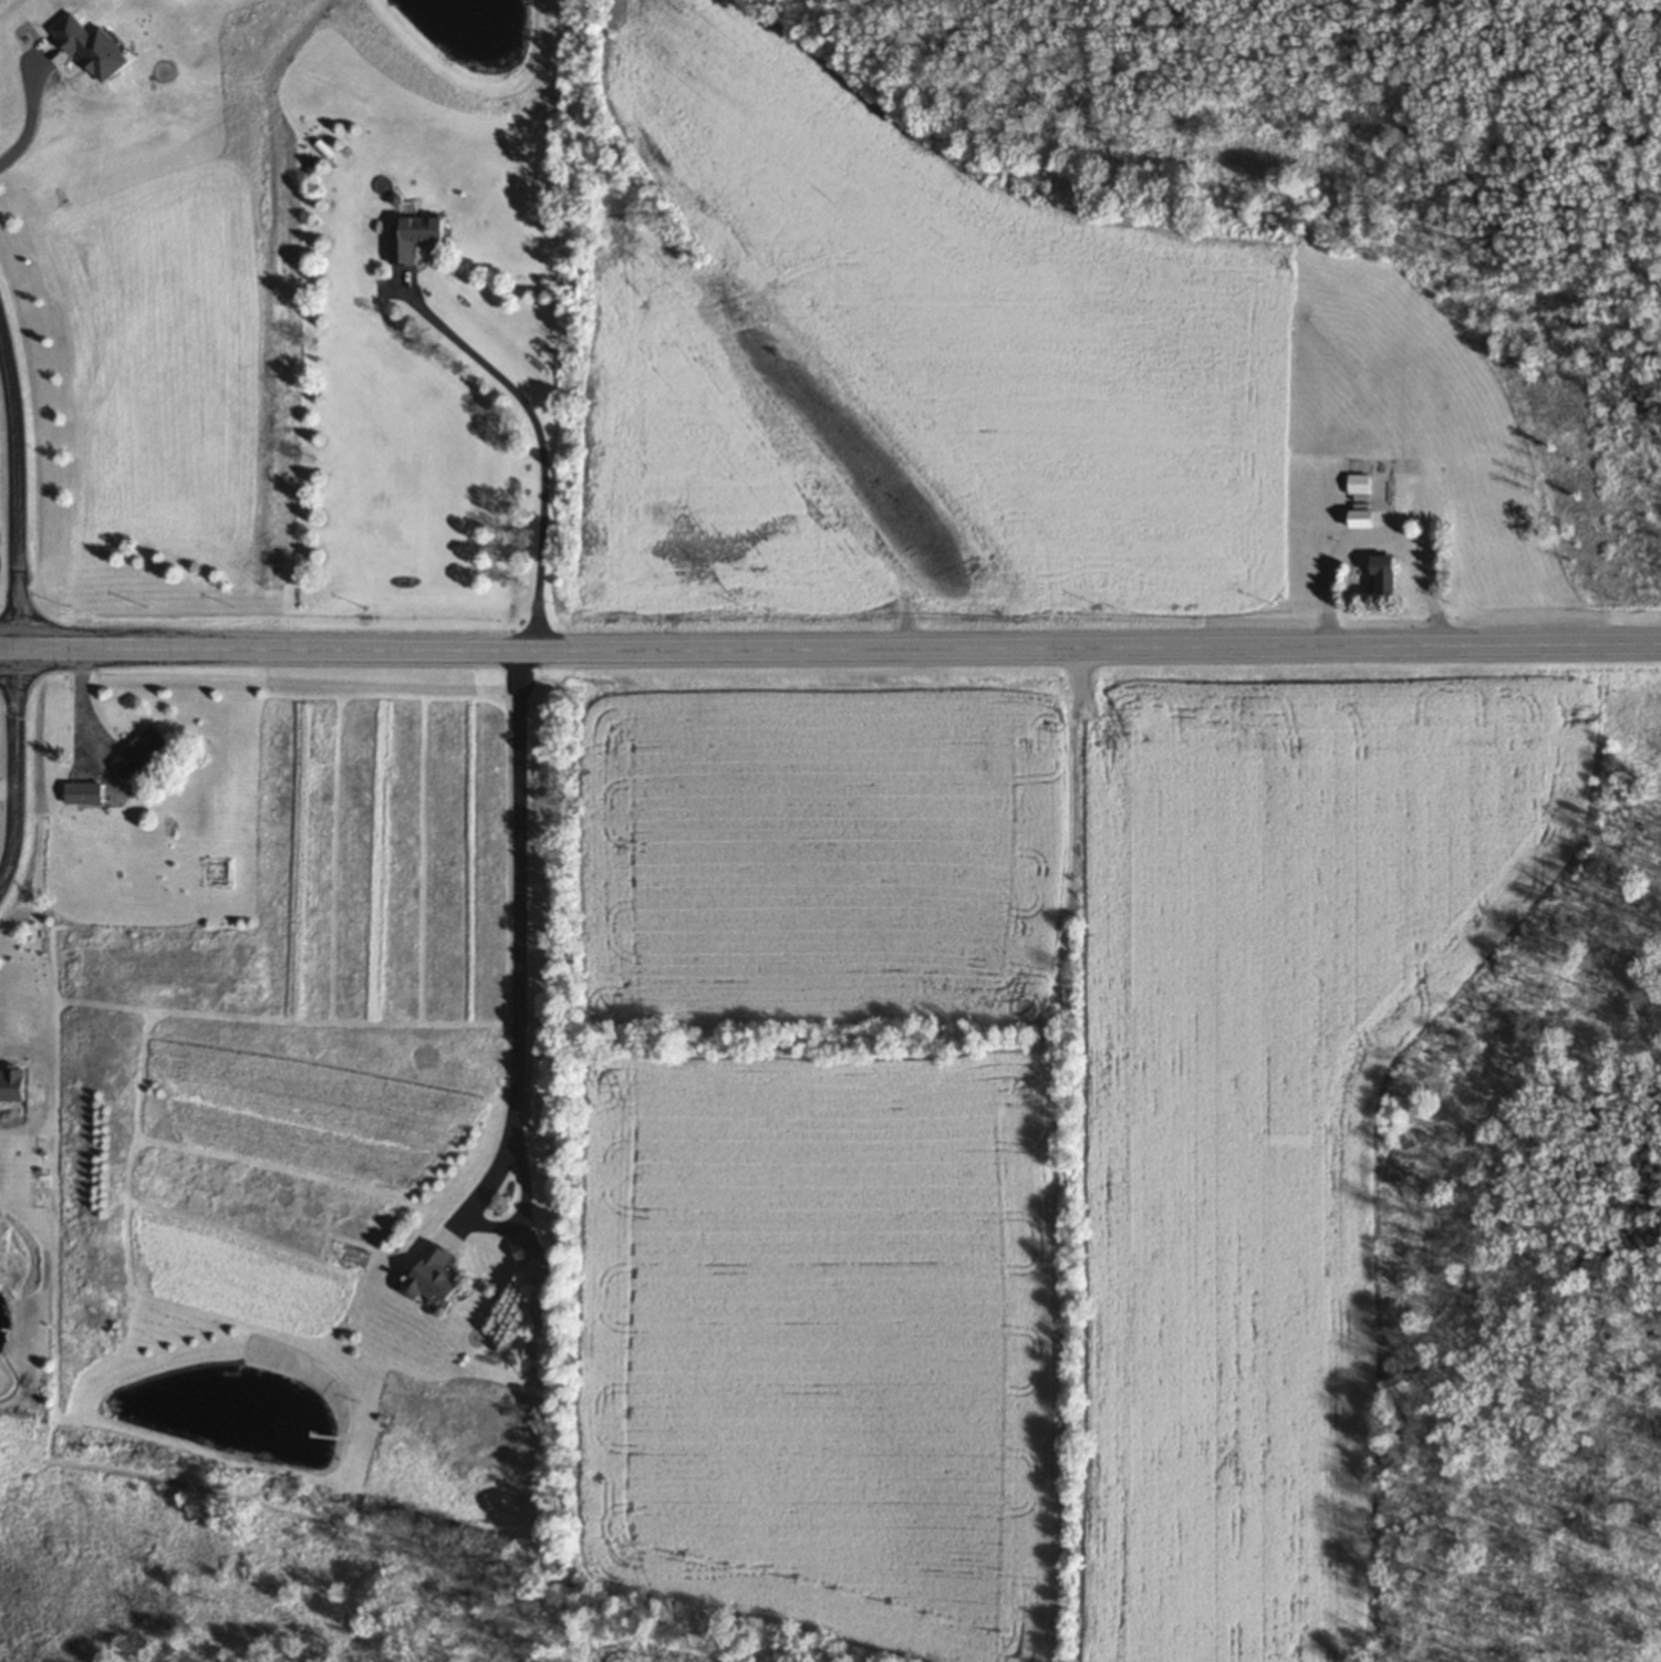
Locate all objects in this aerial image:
road: (35, 107)
building: (428, 240)
road: (542, 440)
road: (19, 484)
building: (1354, 487)
building: (1356, 522)
building: (1378, 579)
road: (830, 645)
building: (147, 752)
road: (15, 765)
building: (89, 793)
road: (521, 937)
building: (533, 1247)
building: (439, 1275)

